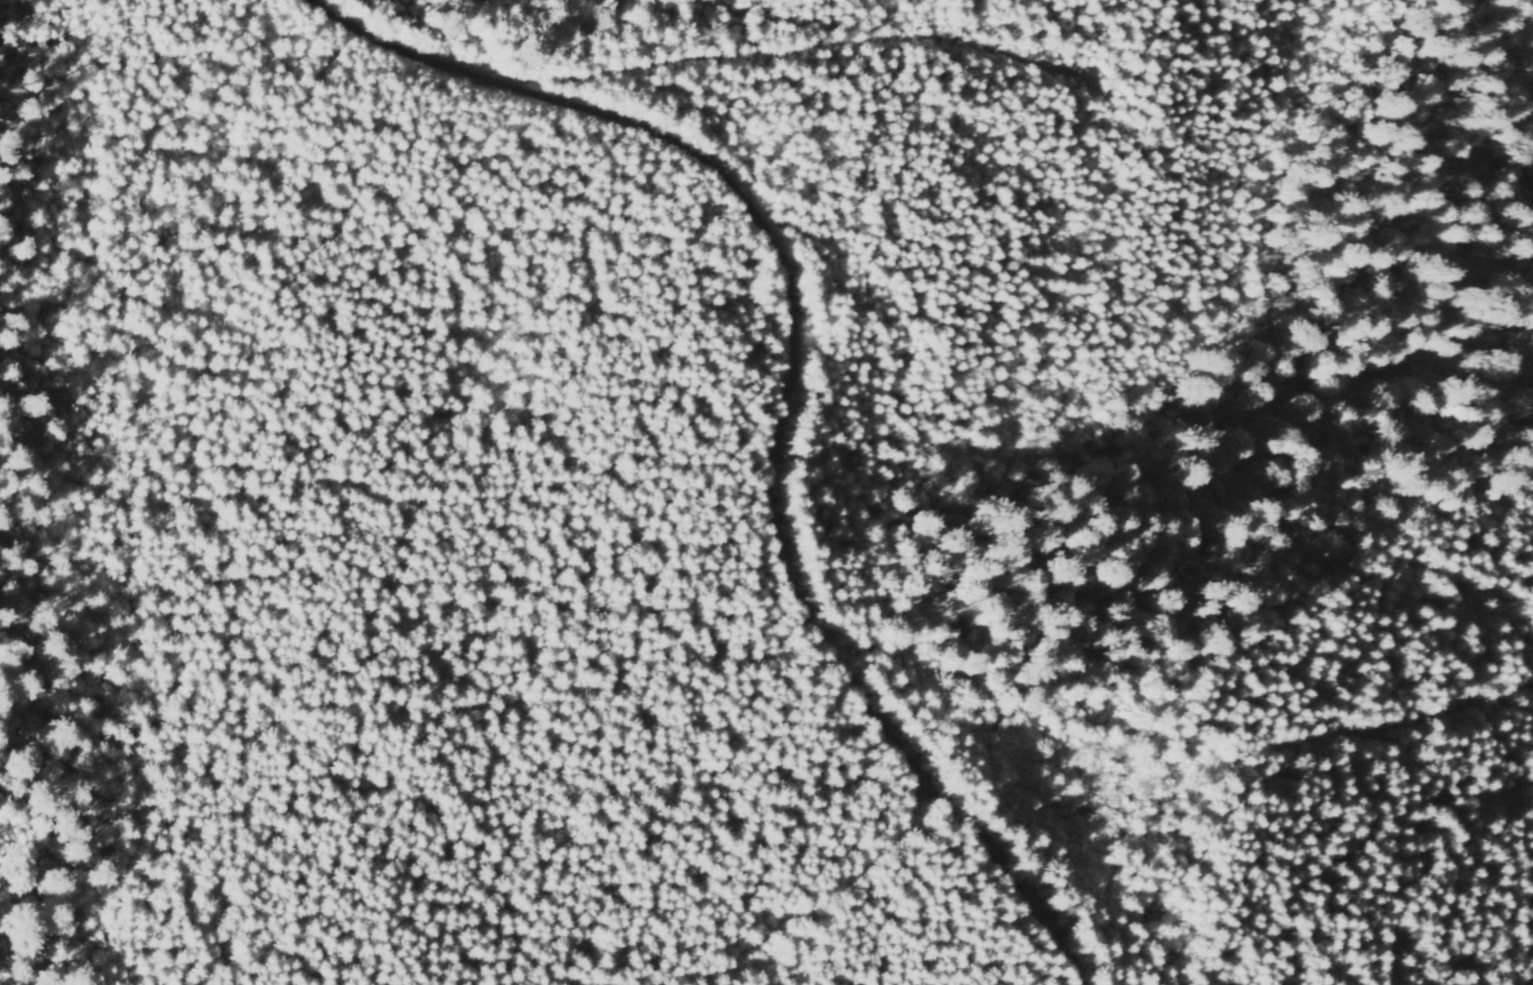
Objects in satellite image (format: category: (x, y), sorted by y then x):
road: (800, 49)
road: (800, 390)

